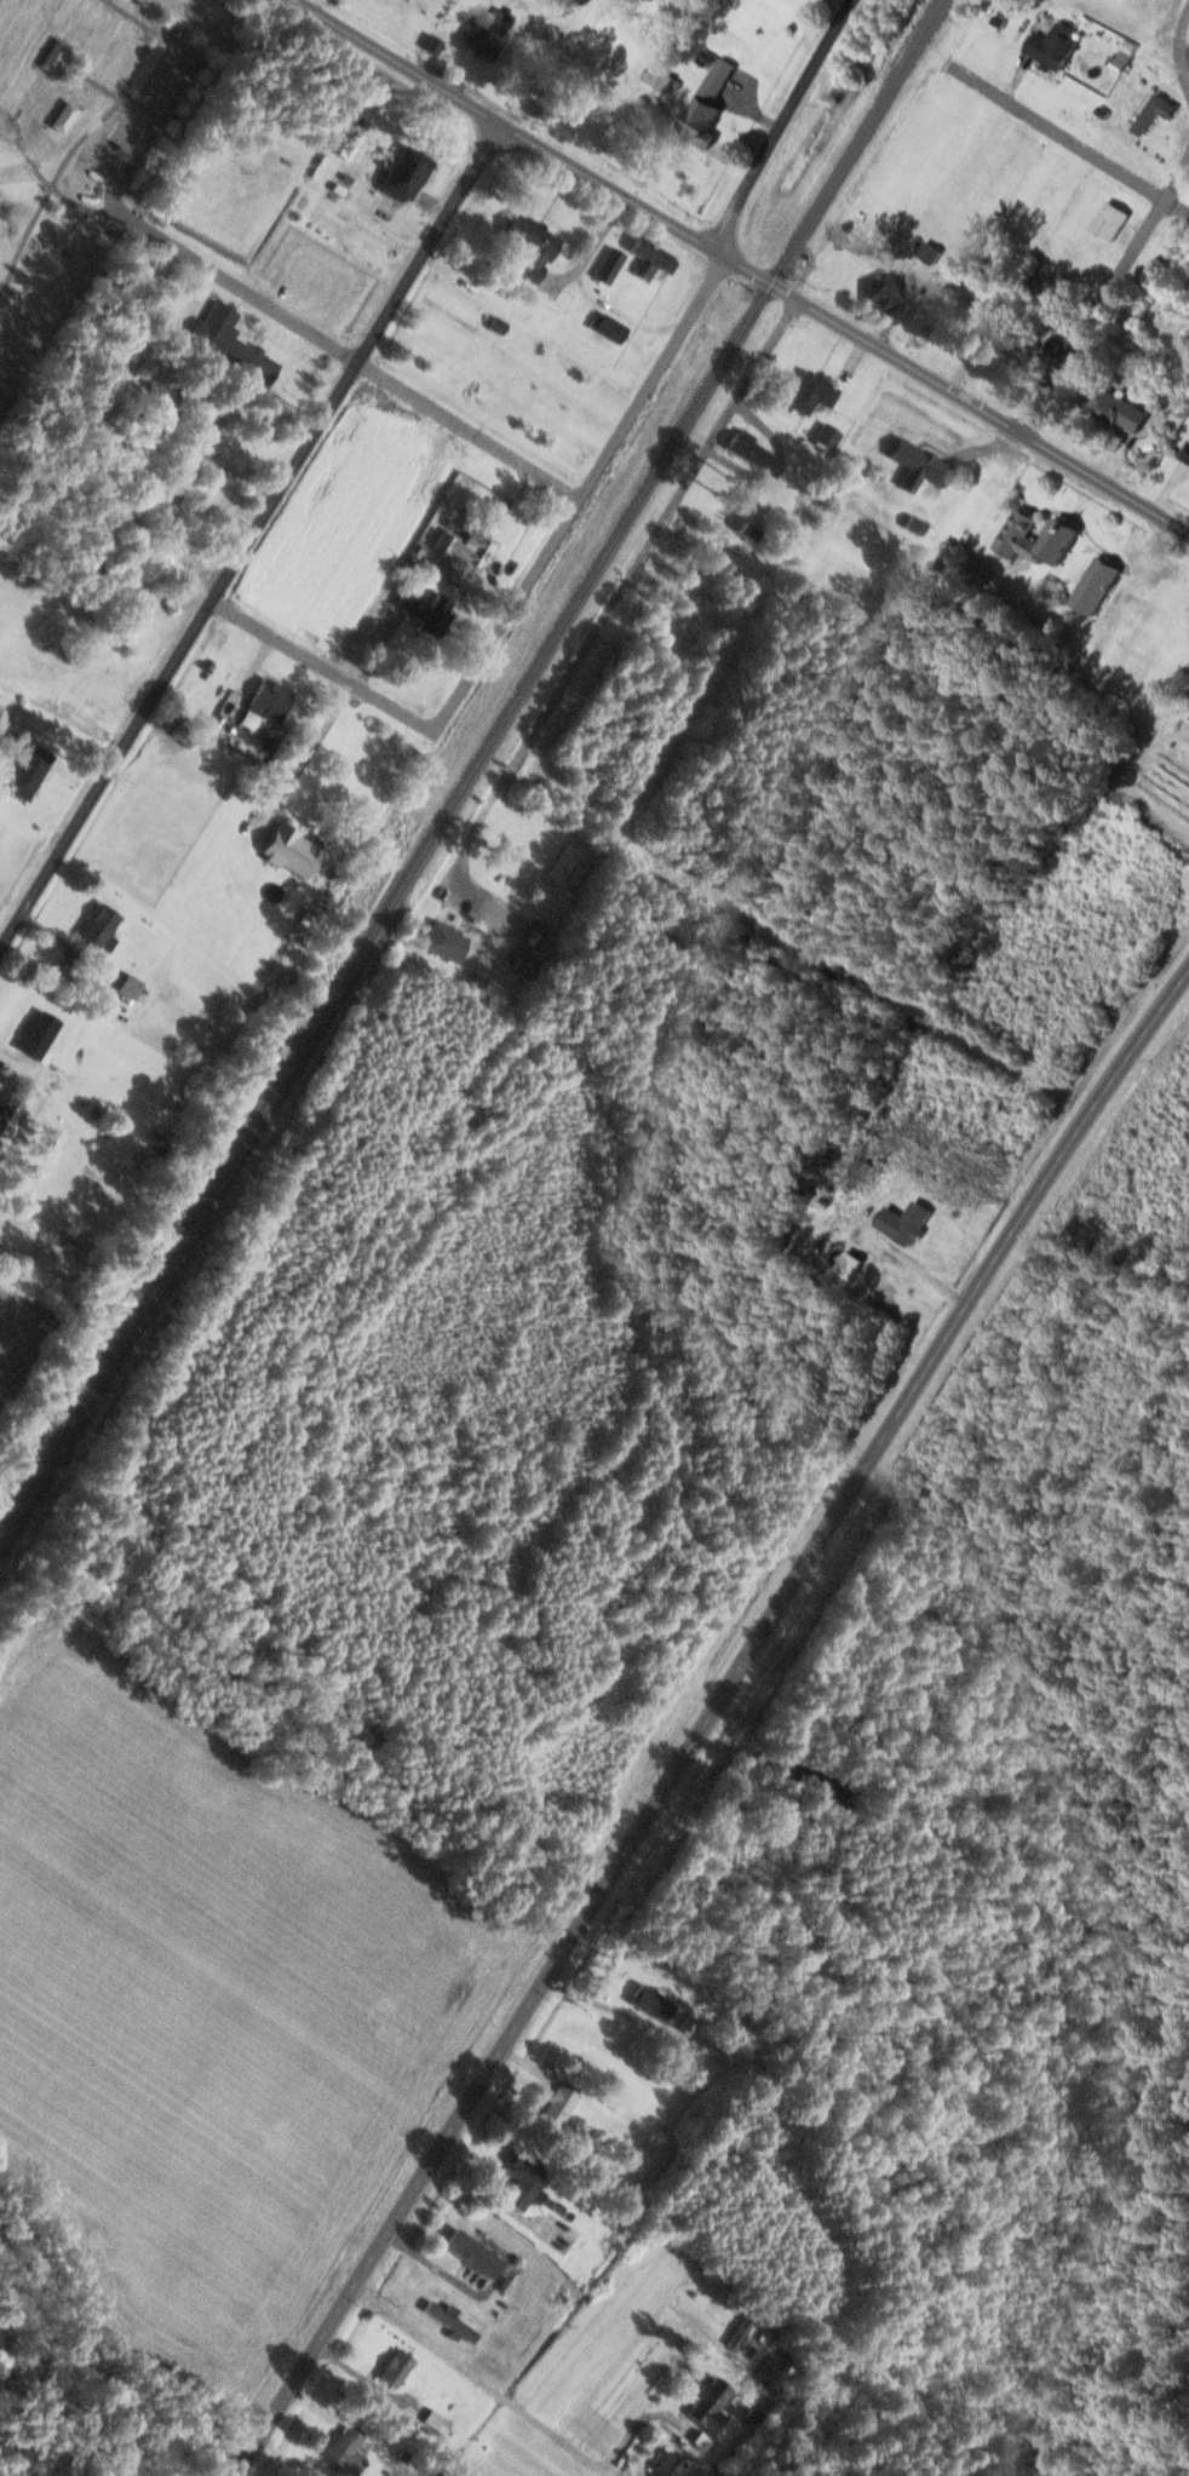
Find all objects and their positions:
building: (140, 2)
building: (1006, 2)
building: (1004, 10)
road: (136, 11)
road: (578, 15)
road: (137, 19)
building: (998, 21)
building: (487, 33)
building: (1055, 42)
building: (431, 44)
road: (1178, 48)
road: (1183, 51)
building: (52, 53)
road: (552, 58)
building: (1122, 58)
building: (659, 76)
road: (1016, 76)
road: (93, 81)
road: (28, 94)
parking lot: (148, 109)
road: (751, 111)
building: (1102, 111)
building: (1156, 111)
building: (703, 114)
building: (63, 116)
road: (780, 125)
road: (1181, 126)
road: (145, 131)
road: (10, 138)
road: (1068, 138)
park: (91, 143)
road: (67, 154)
road: (364, 163)
building: (404, 173)
road: (42, 177)
road: (429, 203)
building: (1110, 219)
park: (4, 224)
road: (427, 241)
building: (530, 245)
road: (593, 246)
building: (930, 251)
building: (648, 257)
building: (608, 264)
road: (742, 268)
building: (885, 292)
road: (1105, 292)
building: (567, 295)
building: (1044, 301)
road: (901, 308)
building: (972, 320)
road: (1070, 320)
building: (498, 324)
flagpole: (249, 326)
parking lot: (276, 326)
building: (608, 326)
building: (1188, 340)
building: (1053, 345)
building: (1018, 347)
road: (1064, 351)
road: (346, 355)
building: (245, 358)
crop: (7, 361)
road: (852, 361)
road: (963, 364)
road: (593, 366)
building: (810, 392)
building: (98, 401)
building: (1119, 406)
building: (211, 407)
building: (137, 431)
building: (827, 436)
building: (1147, 442)
road: (983, 447)
road: (1126, 450)
building: (754, 454)
road: (1115, 454)
building: (1187, 454)
road: (775, 463)
road: (219, 464)
building: (920, 465)
road: (1167, 483)
road: (582, 492)
crop: (346, 525)
building: (915, 525)
building: (1016, 539)
building: (466, 546)
road: (1151, 546)
building: (421, 550)
road: (484, 581)
building: (1096, 585)
road: (619, 594)
building: (426, 613)
road: (379, 648)
road: (176, 654)
road: (255, 665)
road: (322, 666)
building: (269, 700)
road: (62, 731)
building: (241, 734)
road: (308, 754)
building: (25, 766)
railway: (472, 771)
crop: (153, 817)
building: (289, 851)
road: (488, 903)
building: (98, 926)
building: (536, 933)
building: (444, 942)
road: (70, 948)
building: (523, 959)
road: (855, 971)
building: (131, 986)
building: (36, 1035)
road: (16, 1065)
road: (11, 1082)
building: (5, 1107)
road: (18, 1142)
building: (906, 1222)
building: (849, 1264)
road: (914, 1266)
road: (970, 1292)
building: (653, 2001)
road: (499, 2050)
building: (561, 2103)
building: (524, 2177)
building: (476, 2252)
building: (452, 2320)
building: (398, 2367)
building: (775, 2372)
road: (476, 2377)
road: (368, 2379)
building: (711, 2403)
building: (438, 2420)
road: (639, 2424)
building: (346, 2447)
building: (670, 2465)

